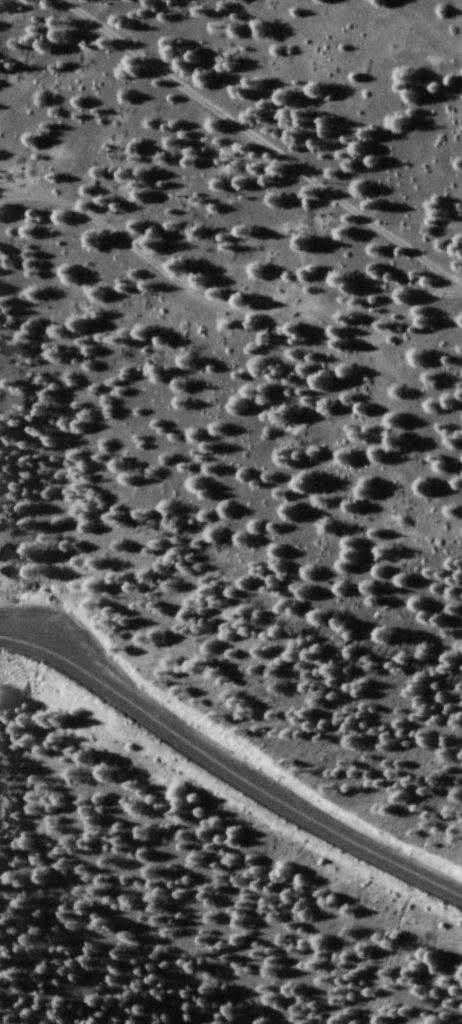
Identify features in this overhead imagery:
road: (267, 141)
road: (223, 300)
road: (230, 761)

